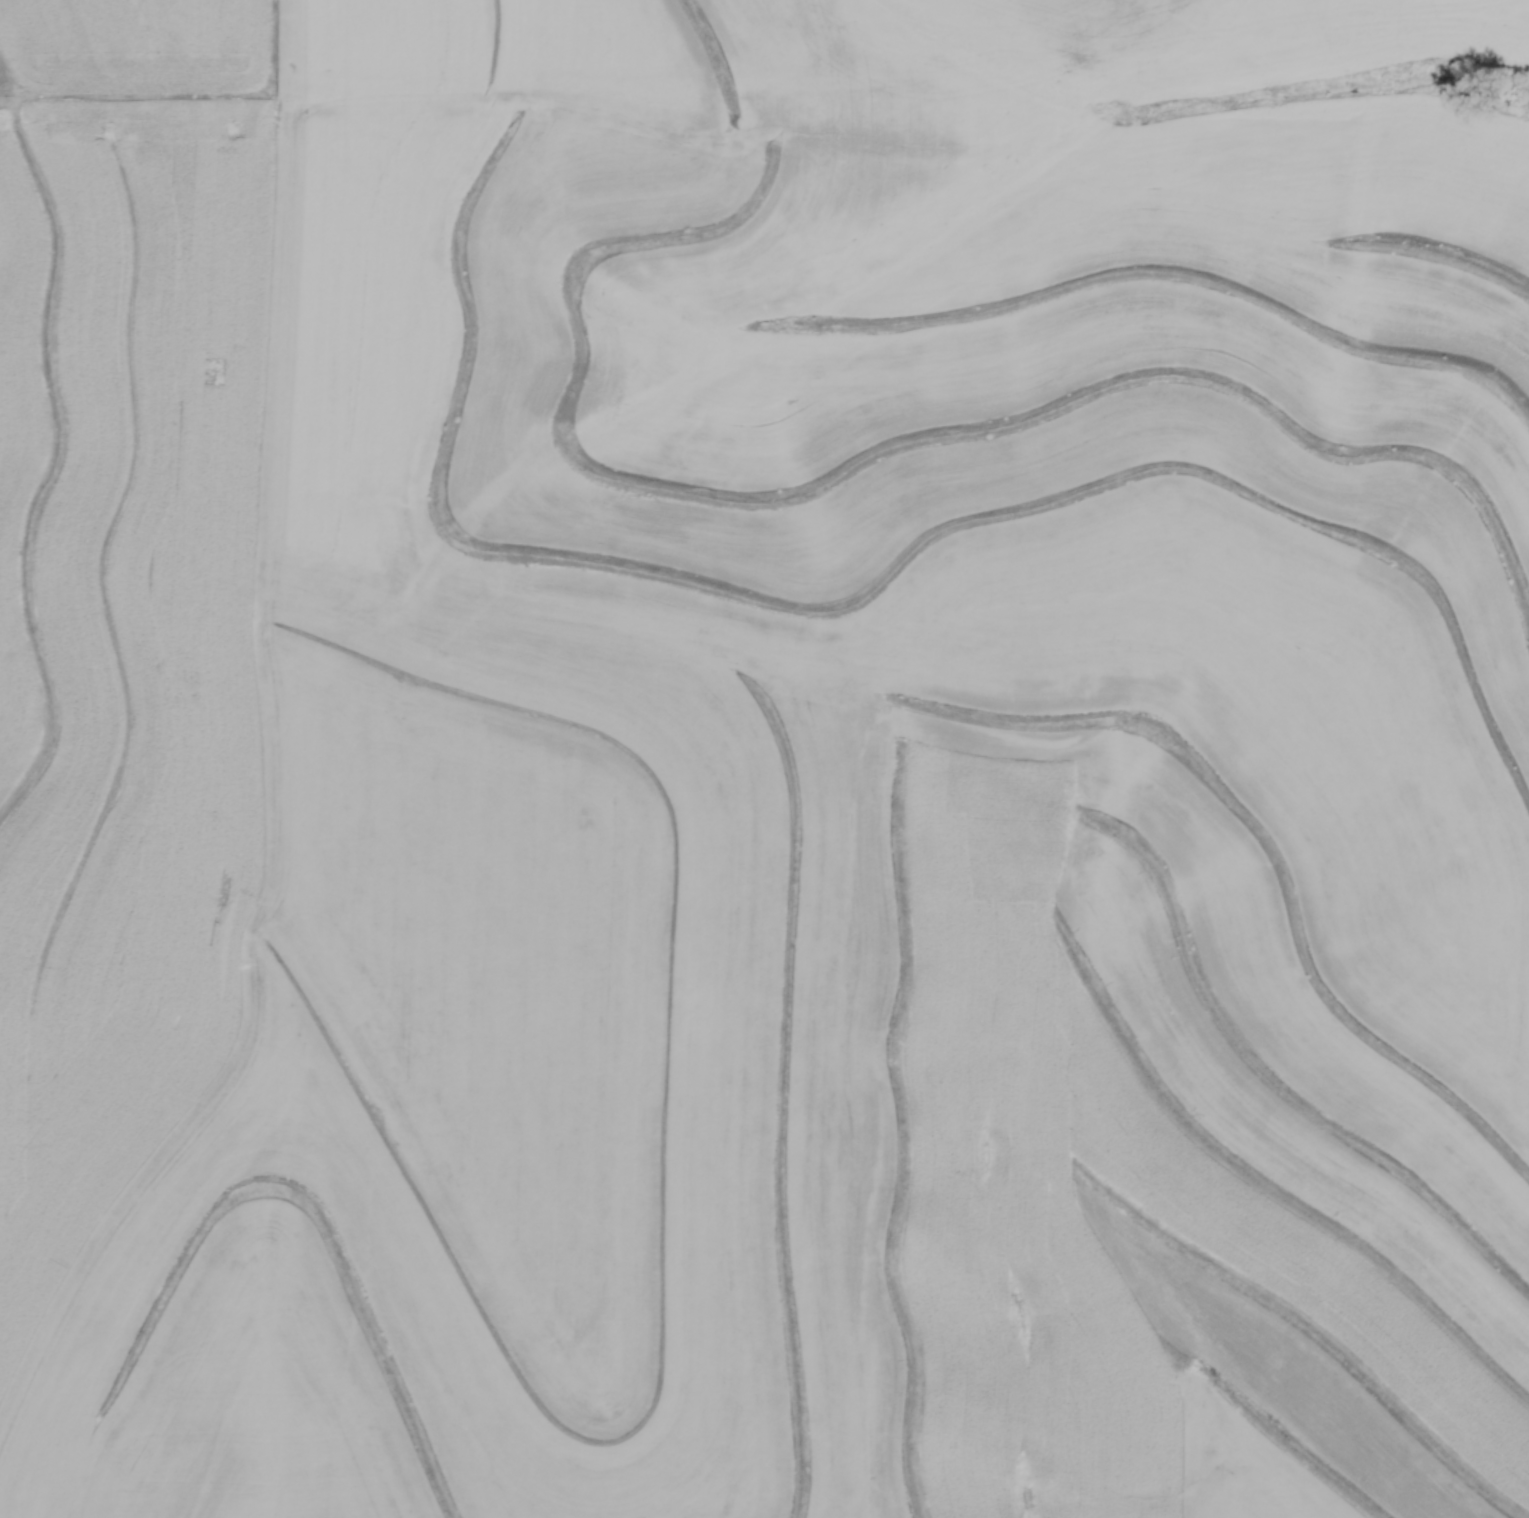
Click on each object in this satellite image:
building: (695, 1008)

